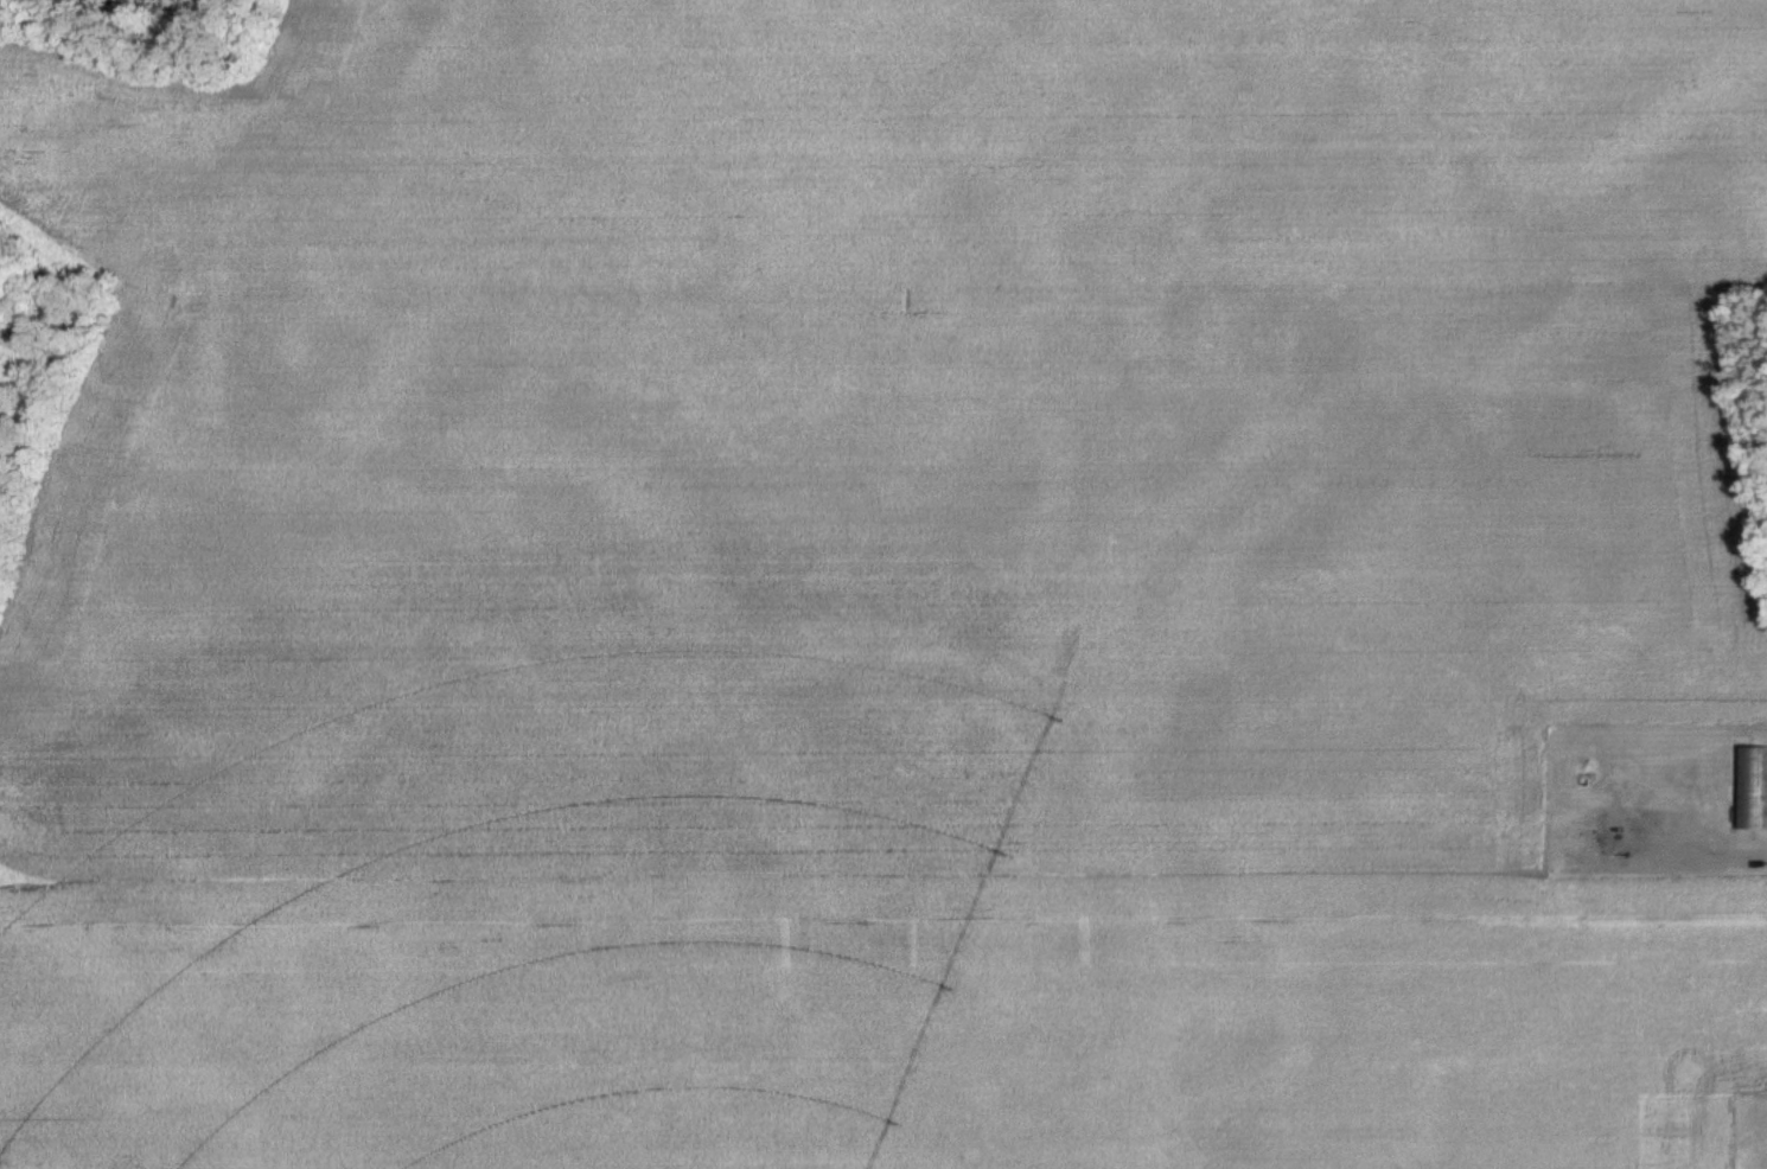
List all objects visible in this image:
building: (1744, 785)
road: (1695, 855)

